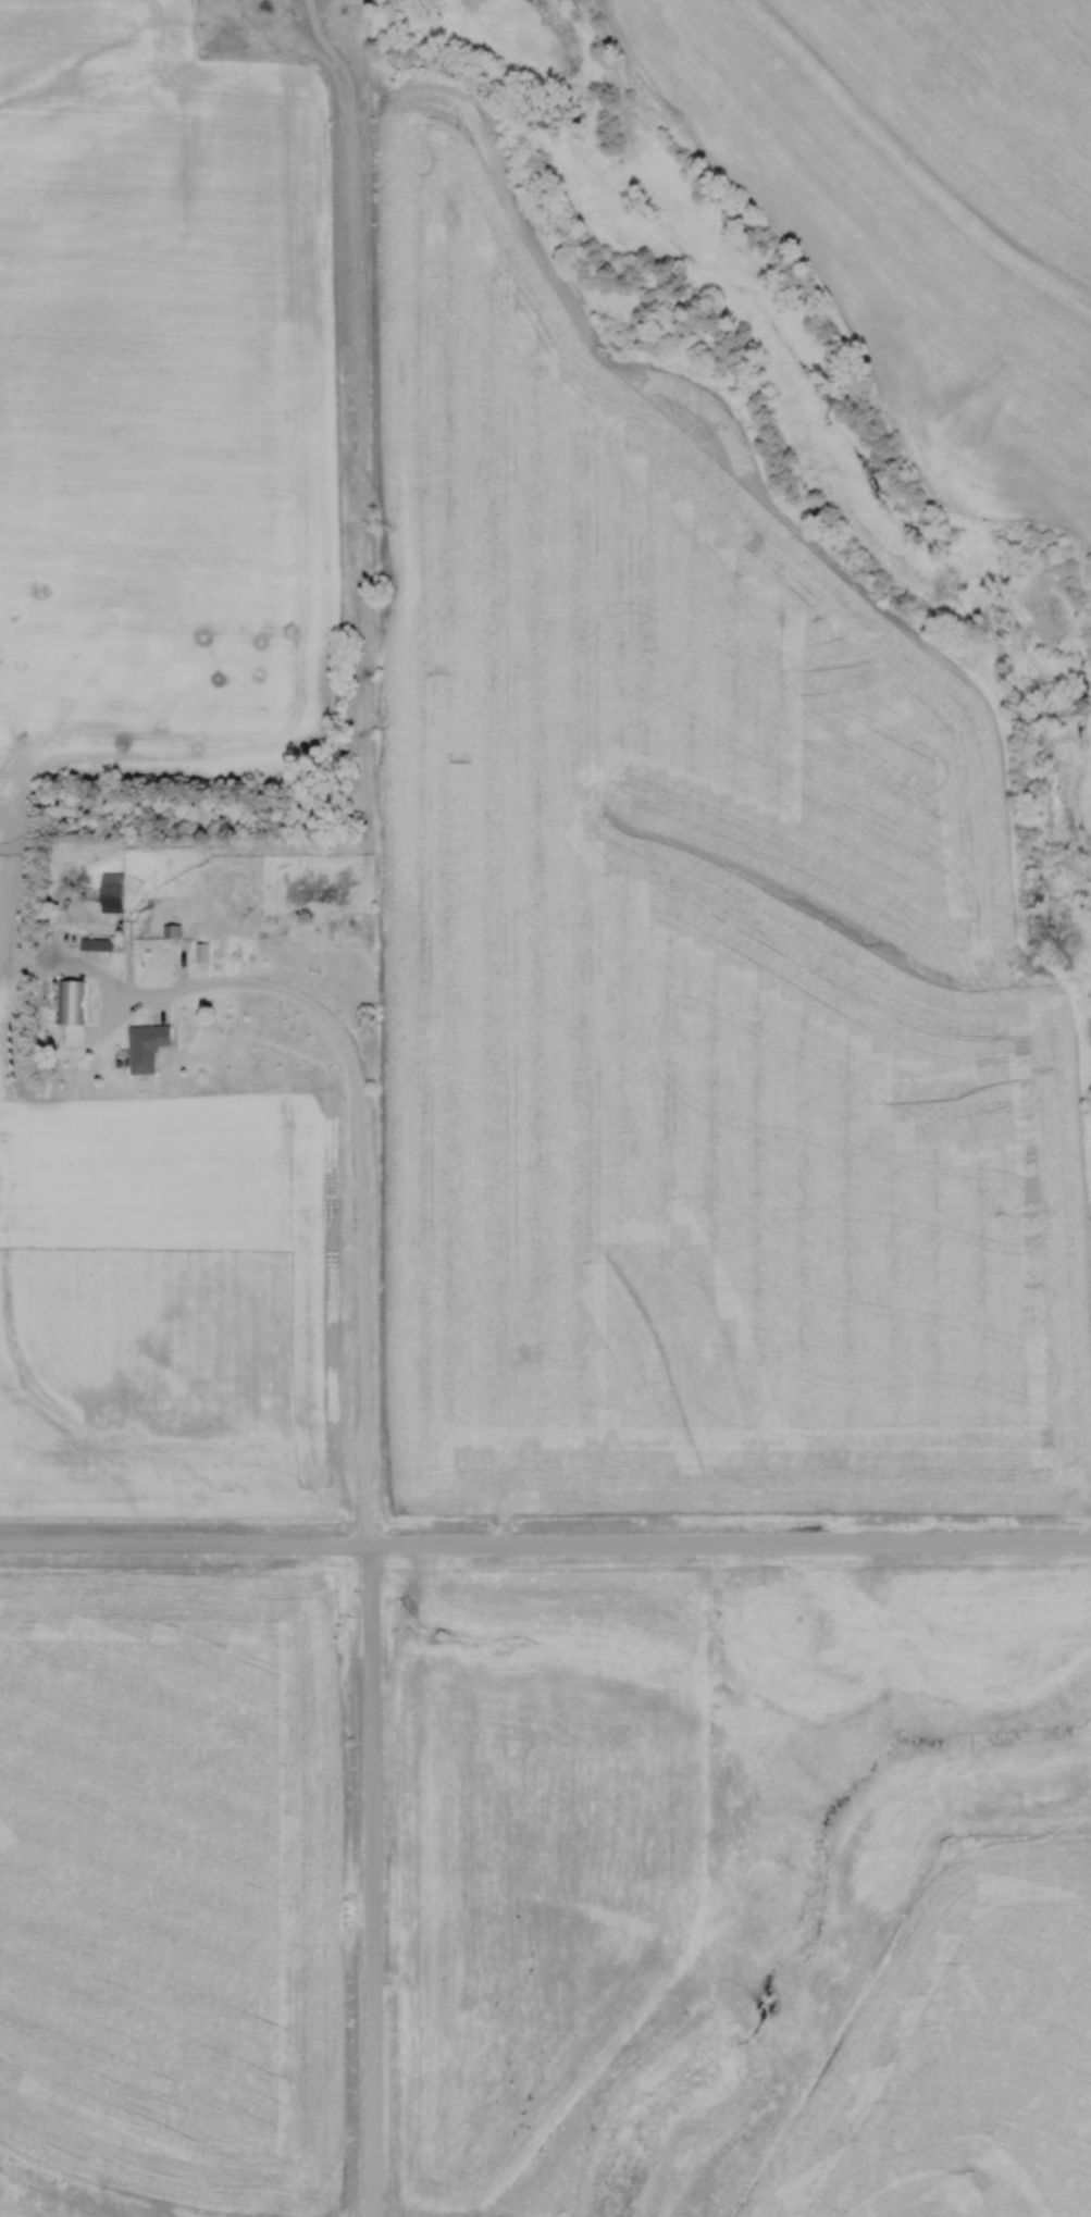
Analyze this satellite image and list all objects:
building: (113, 893)
building: (96, 945)
building: (200, 953)
building: (69, 1003)
building: (146, 1048)
road: (360, 1178)
road: (545, 1548)
road: (372, 1882)

